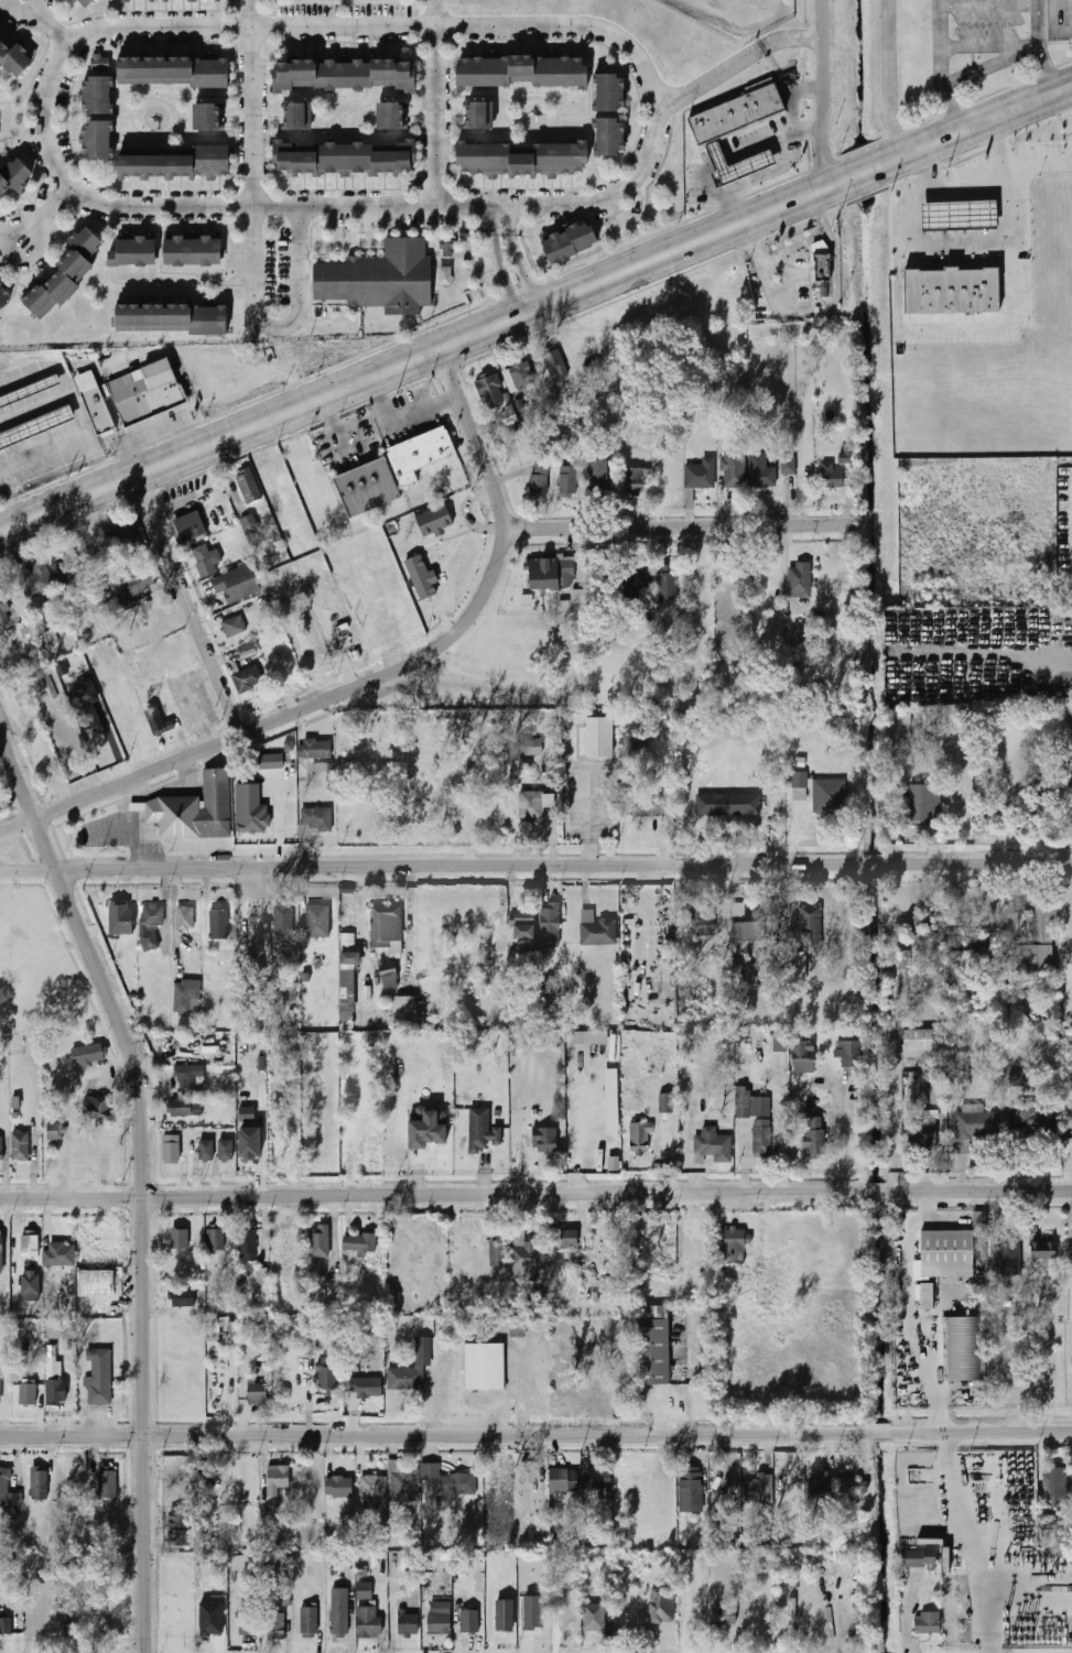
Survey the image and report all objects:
building: (122, 0)
road: (992, 1)
building: (88, 3)
road: (55, 21)
road: (992, 43)
road: (1040, 46)
building: (13, 59)
road: (738, 59)
road: (993, 63)
road: (943, 67)
building: (176, 73)
building: (522, 73)
building: (347, 75)
road: (890, 79)
building: (100, 84)
building: (607, 93)
road: (827, 94)
road: (793, 97)
road: (433, 101)
building: (737, 112)
road: (1068, 116)
building: (301, 117)
building: (394, 117)
building: (484, 117)
building: (213, 118)
building: (607, 137)
building: (100, 140)
building: (346, 157)
building: (520, 159)
building: (182, 164)
building: (737, 164)
gas station: (737, 164)
road: (772, 170)
road: (1040, 174)
building: (14, 177)
road: (448, 204)
road: (42, 210)
building: (956, 215)
gas station: (956, 215)
road: (510, 226)
road: (492, 228)
road: (251, 240)
road: (752, 241)
building: (565, 242)
road: (910, 244)
building: (447, 246)
road: (507, 250)
building: (195, 251)
building: (136, 253)
building: (822, 263)
road: (790, 272)
building: (68, 275)
road: (1013, 275)
building: (378, 278)
road: (527, 279)
road: (508, 285)
building: (949, 291)
building: (6, 300)
road: (559, 301)
road: (835, 302)
building: (174, 319)
building: (555, 363)
building: (518, 376)
building: (490, 391)
building: (32, 392)
building: (151, 393)
building: (99, 404)
building: (509, 416)
building: (35, 425)
road: (332, 427)
building: (424, 454)
building: (845, 458)
building: (788, 465)
building: (734, 468)
building: (760, 471)
building: (701, 474)
building: (598, 476)
building: (830, 476)
building: (569, 481)
building: (634, 481)
building: (249, 485)
building: (539, 485)
building: (370, 488)
building: (438, 521)
road: (22, 524)
building: (249, 525)
building: (190, 526)
road: (679, 530)
building: (122, 535)
building: (98, 557)
building: (204, 562)
building: (61, 573)
building: (551, 573)
building: (422, 577)
building: (637, 577)
building: (800, 579)
building: (35, 580)
building: (237, 584)
building: (668, 586)
building: (129, 589)
building: (575, 602)
road: (191, 607)
building: (3, 609)
building: (232, 626)
building: (793, 633)
building: (247, 650)
building: (247, 679)
road: (373, 683)
road: (187, 700)
building: (85, 704)
building: (101, 713)
building: (156, 720)
building: (599, 737)
building: (637, 741)
building: (537, 746)
building: (314, 748)
building: (1070, 751)
building: (271, 761)
building: (320, 766)
building: (821, 793)
building: (576, 795)
building: (728, 803)
building: (921, 803)
building: (531, 804)
building: (647, 806)
building: (194, 809)
building: (249, 811)
building: (315, 820)
road: (535, 869)
building: (123, 907)
building: (349, 911)
road: (174, 912)
building: (153, 915)
building: (185, 917)
building: (317, 921)
building: (283, 923)
building: (218, 924)
building: (250, 924)
building: (550, 924)
building: (386, 925)
building: (809, 925)
building: (523, 926)
building: (702, 926)
building: (917, 926)
building: (596, 928)
building: (751, 931)
building: (1039, 937)
building: (346, 939)
building: (799, 965)
road: (367, 968)
building: (389, 975)
building: (348, 989)
building: (186, 997)
building: (409, 1011)
building: (589, 1037)
building: (780, 1042)
building: (921, 1044)
building: (87, 1054)
building: (848, 1054)
building: (802, 1056)
building: (188, 1076)
building: (1016, 1078)
building: (936, 1088)
building: (743, 1106)
building: (180, 1107)
building: (96, 1109)
building: (667, 1109)
building: (247, 1112)
building: (1033, 1120)
building: (427, 1128)
building: (971, 1129)
building: (480, 1130)
building: (923, 1131)
road: (842, 1132)
building: (54, 1133)
building: (761, 1137)
building: (814, 1137)
building: (544, 1139)
building: (640, 1139)
building: (706, 1141)
building: (250, 1143)
building: (21, 1146)
building: (171, 1149)
building: (206, 1150)
building: (225, 1150)
building: (1, 1151)
building: (91, 1159)
road: (141, 1183)
road: (535, 1195)
building: (978, 1220)
building: (564, 1238)
building: (178, 1239)
building: (214, 1240)
building: (247, 1241)
building: (320, 1241)
building: (282, 1242)
building: (360, 1243)
building: (30, 1246)
building: (1, 1249)
building: (1042, 1250)
building: (527, 1252)
building: (948, 1252)
building: (498, 1253)
building: (59, 1254)
building: (739, 1255)
building: (416, 1257)
building: (1006, 1259)
building: (451, 1284)
building: (31, 1285)
building: (333, 1286)
building: (771, 1294)
building: (927, 1295)
building: (181, 1298)
building: (416, 1306)
building: (296, 1325)
building: (518, 1327)
building: (57, 1330)
building: (213, 1337)
road: (916, 1341)
building: (311, 1348)
building: (964, 1348)
building: (651, 1350)
building: (53, 1359)
building: (484, 1366)
building: (327, 1374)
building: (99, 1378)
building: (404, 1378)
building: (290, 1379)
building: (366, 1386)
building: (0, 1390)
building: (55, 1391)
building: (256, 1392)
building: (26, 1394)
road: (535, 1436)
building: (595, 1476)
building: (277, 1479)
building: (562, 1479)
building: (204, 1482)
building: (402, 1482)
building: (501, 1482)
building: (39, 1483)
building: (447, 1483)
building: (849, 1483)
building: (1021, 1483)
building: (1055, 1485)
building: (107, 1486)
building: (239, 1486)
building: (338, 1487)
building: (815, 1487)
building: (371, 1490)
building: (690, 1490)
building: (758, 1490)
building: (7, 1494)
building: (726, 1497)
building: (177, 1520)
road: (953, 1526)
building: (1048, 1531)
building: (176, 1538)
building: (338, 1558)
building: (917, 1558)
building: (243, 1563)
building: (365, 1590)
building: (956, 1597)
road: (1003, 1598)
building: (661, 1606)
building: (339, 1611)
road: (385, 1614)
building: (503, 1614)
building: (724, 1616)
building: (596, 1617)
building: (308, 1620)
building: (369, 1621)
building: (469, 1621)
building: (927, 1622)
building: (407, 1623)
building: (438, 1623)
building: (247, 1624)
building: (533, 1624)
building: (565, 1624)
building: (4, 1627)
building: (209, 1627)
building: (275, 1627)
building: (71, 1629)

